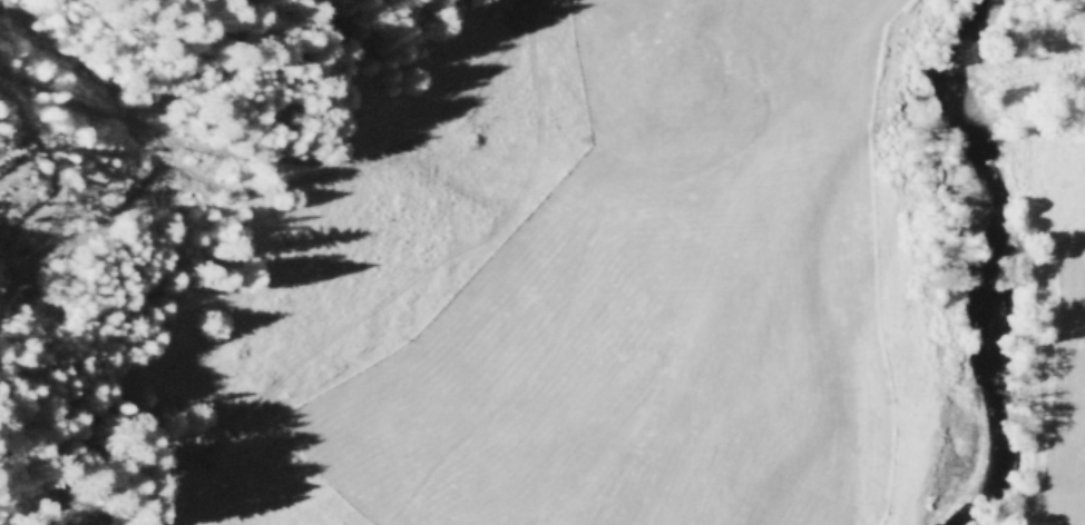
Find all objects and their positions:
road: (419, 130)
river: (978, 262)

